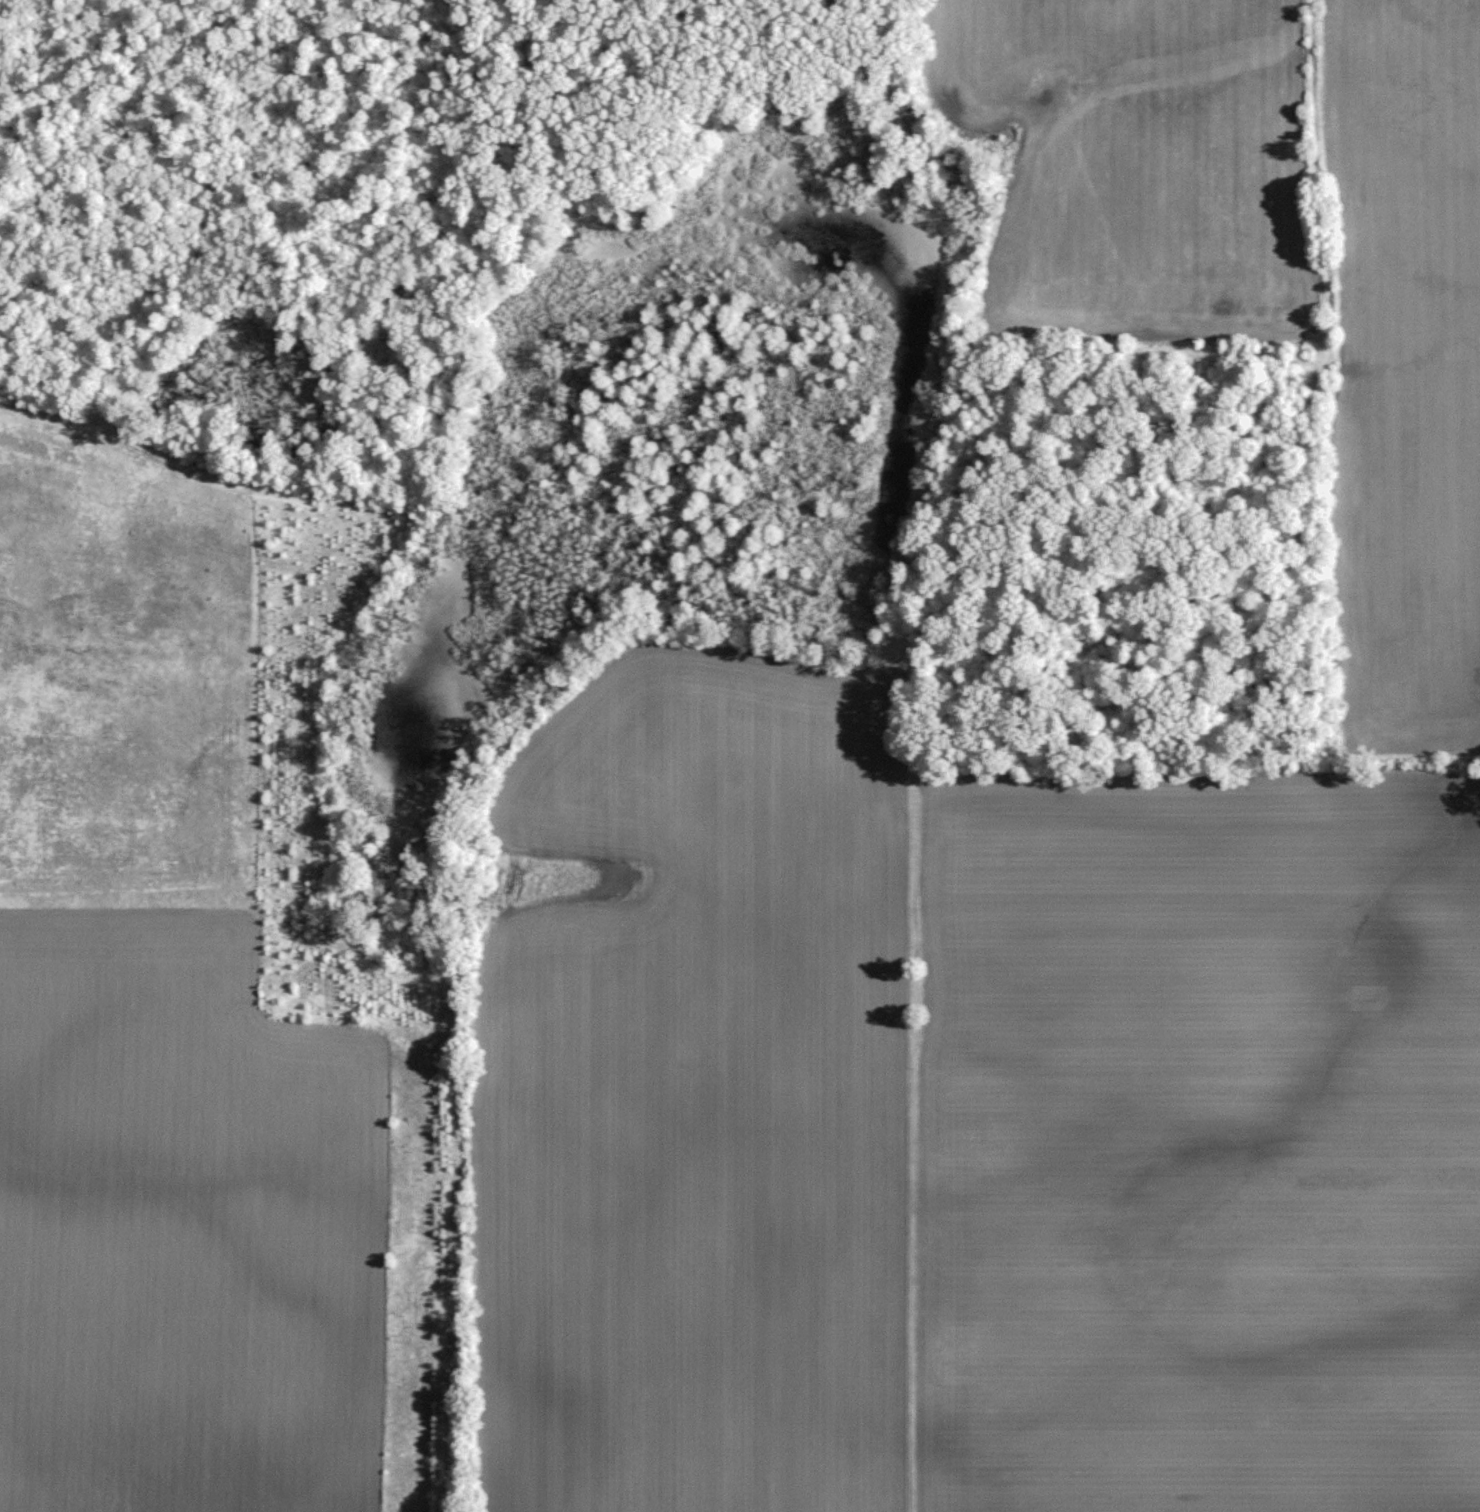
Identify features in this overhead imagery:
crop: (1145, 149)
crop: (1413, 381)
crop: (691, 1087)
crop: (1206, 1139)
crop: (174, 1228)
road: (911, 1275)

